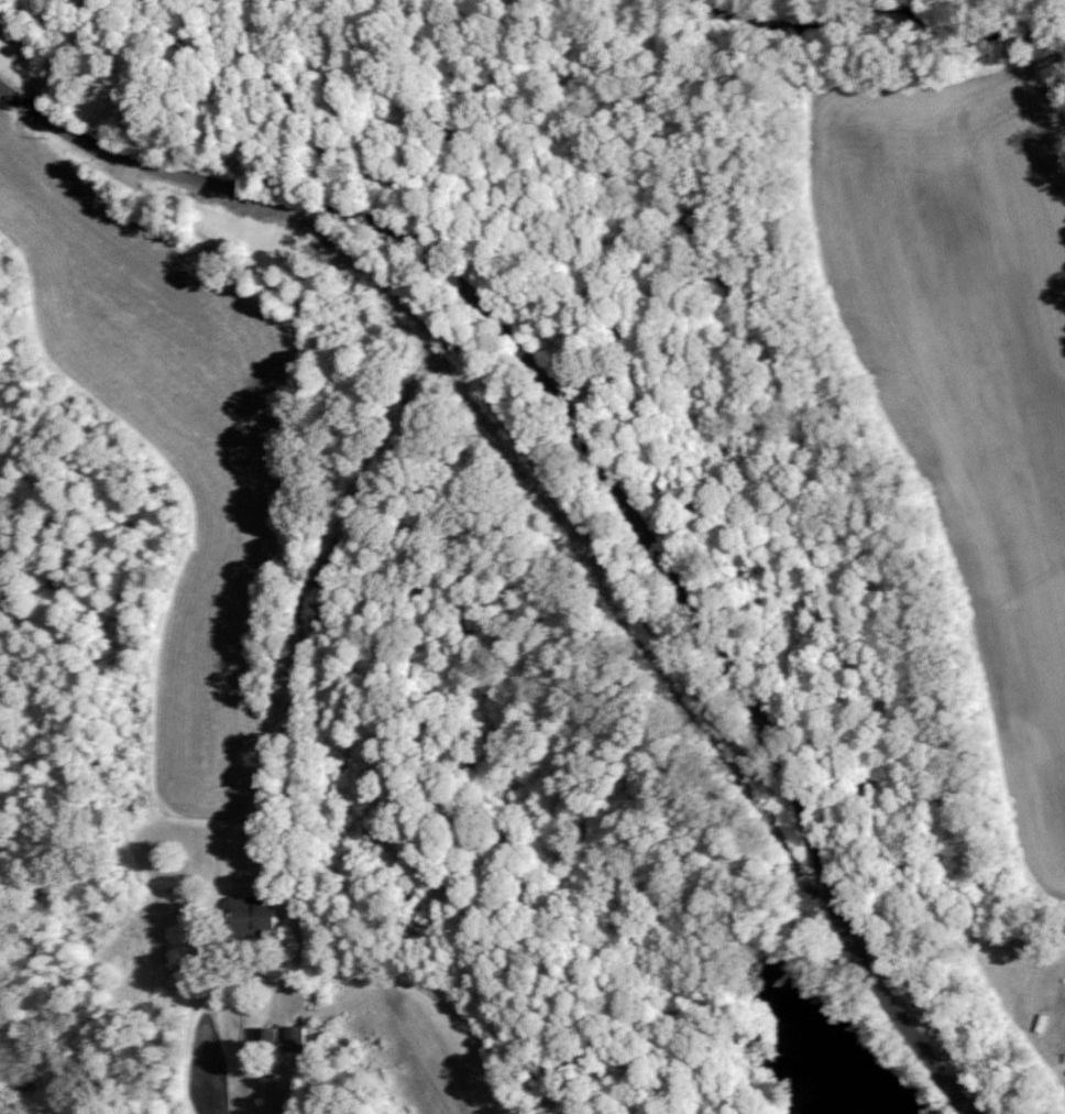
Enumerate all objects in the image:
road: (601, 469)
road: (299, 537)
building: (250, 915)
building: (265, 1035)
building: (294, 1037)
road: (1061, 1040)
road: (223, 1050)
road: (321, 1062)

